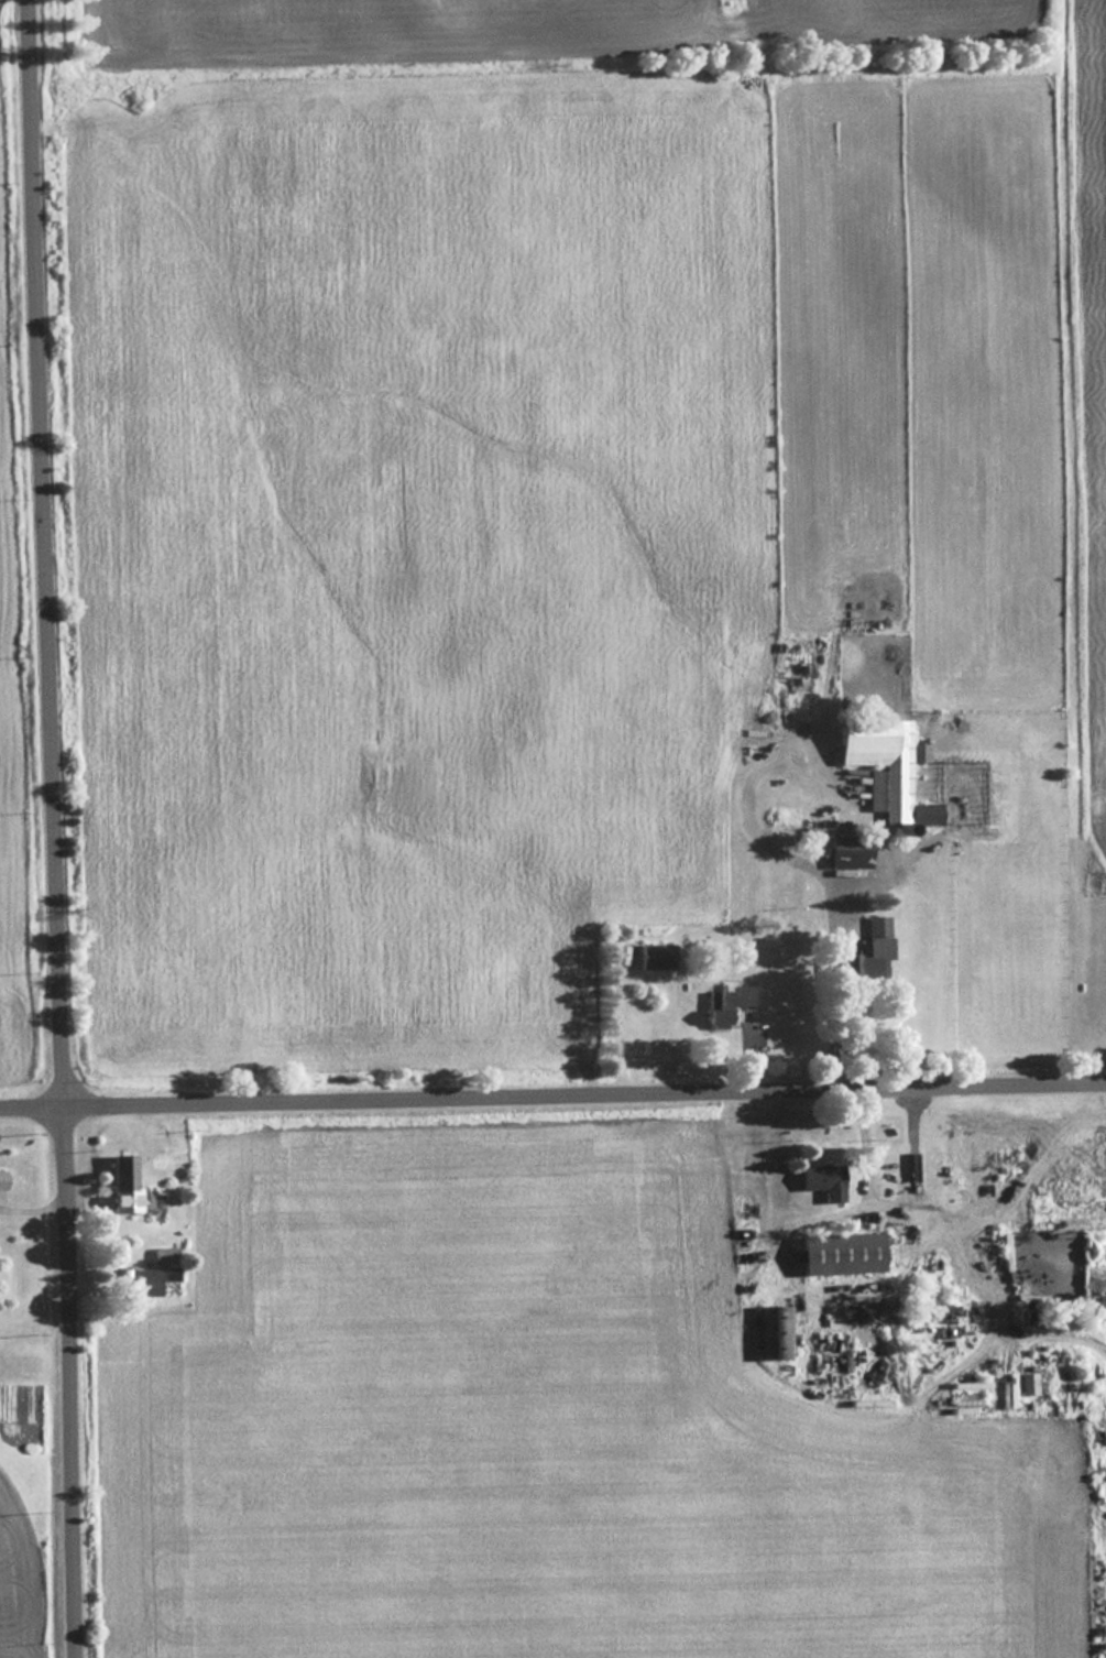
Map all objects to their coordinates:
building: (883, 759)
road: (51, 828)
road: (832, 952)
building: (866, 952)
building: (653, 955)
building: (723, 1003)
road: (552, 1093)
building: (116, 1171)
building: (0, 1178)
building: (820, 1179)
road: (889, 1207)
building: (1073, 1214)
building: (1005, 1251)
building: (163, 1252)
building: (839, 1252)
building: (155, 1280)
building: (1054, 1323)

